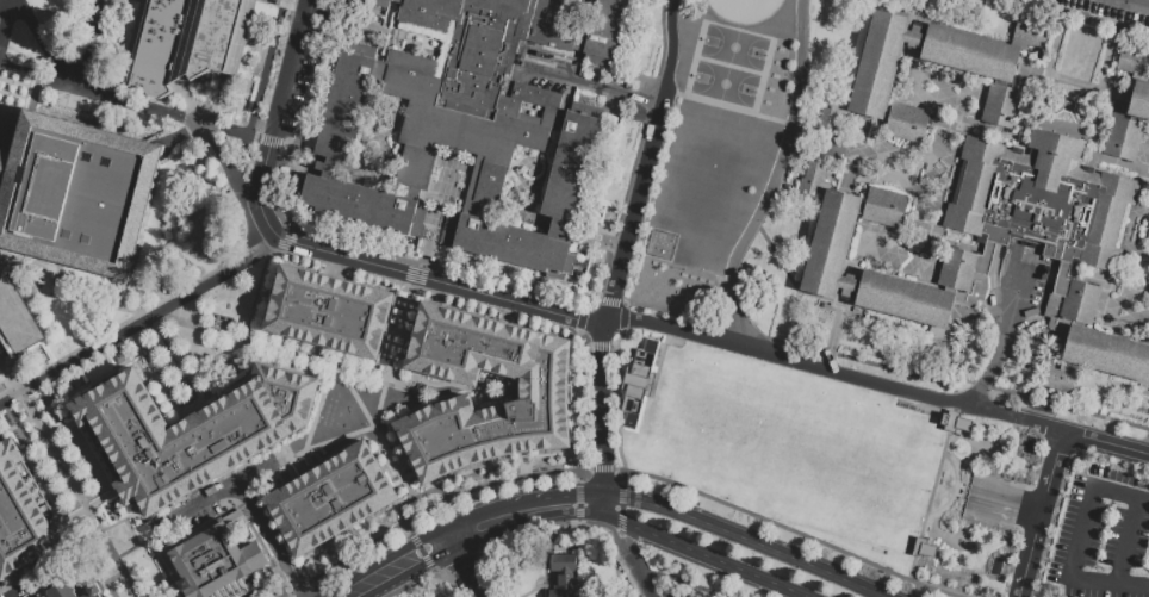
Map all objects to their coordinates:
road: (1044, 1)
road: (554, 4)
park: (744, 8)
parking lot: (1106, 11)
road: (1089, 15)
road: (6, 24)
building: (917, 35)
road: (43, 39)
road: (91, 42)
building: (186, 43)
park: (734, 46)
road: (671, 50)
building: (1131, 60)
building: (981, 66)
road: (33, 69)
building: (880, 81)
road: (1075, 81)
road: (597, 82)
park: (725, 83)
road: (168, 107)
road: (729, 107)
street lamp: (644, 112)
road: (274, 117)
building: (1128, 122)
building: (470, 124)
road: (21, 128)
road: (546, 143)
road: (226, 163)
road: (451, 166)
road: (511, 166)
road: (542, 168)
road: (776, 178)
road: (473, 179)
road: (459, 192)
building: (77, 198)
building: (1043, 198)
road: (507, 205)
road: (524, 207)
road: (635, 211)
road: (441, 216)
road: (554, 228)
road: (554, 228)
road: (555, 228)
road: (571, 231)
building: (846, 231)
road: (577, 235)
road: (275, 236)
road: (430, 242)
road: (604, 242)
road: (280, 244)
road: (442, 281)
road: (794, 282)
building: (850, 284)
building: (1148, 291)
parking lot: (1024, 294)
building: (921, 298)
building: (330, 313)
building: (15, 319)
road: (206, 322)
road: (138, 325)
road: (243, 337)
building: (1089, 342)
road: (785, 357)
road: (864, 361)
road: (1039, 366)
road: (994, 372)
building: (636, 381)
road: (324, 388)
road: (1008, 390)
building: (541, 394)
road: (379, 396)
road: (187, 408)
road: (1089, 412)
road: (1014, 416)
road: (603, 417)
building: (955, 421)
building: (194, 435)
road: (337, 436)
road: (1105, 442)
parking lot: (818, 450)
road: (1055, 453)
road: (601, 468)
road: (574, 475)
road: (622, 477)
road: (502, 480)
road: (1089, 490)
road: (576, 492)
road: (79, 495)
road: (621, 495)
road: (1045, 495)
road: (225, 496)
road: (558, 497)
building: (331, 500)
road: (577, 504)
road: (1004, 504)
road: (620, 509)
road: (577, 512)
building: (20, 521)
road: (577, 521)
road: (605, 521)
road: (620, 521)
road: (406, 527)
road: (539, 527)
road: (613, 528)
road: (785, 529)
parking lot: (1100, 535)
road: (480, 536)
road: (1035, 537)
road: (148, 540)
road: (412, 540)
road: (744, 540)
road: (412, 541)
road: (274, 542)
road: (362, 545)
building: (924, 548)
road: (420, 551)
road: (627, 553)
road: (704, 554)
building: (215, 560)
road: (426, 561)
road: (460, 562)
road: (461, 562)
road: (430, 571)
road: (441, 573)
building: (564, 576)
road: (1023, 579)
road: (410, 582)
road: (678, 582)
road: (298, 585)
road: (1131, 585)
road: (645, 586)
building: (62, 590)
road: (915, 590)
building: (91, 593)
road: (285, 593)

